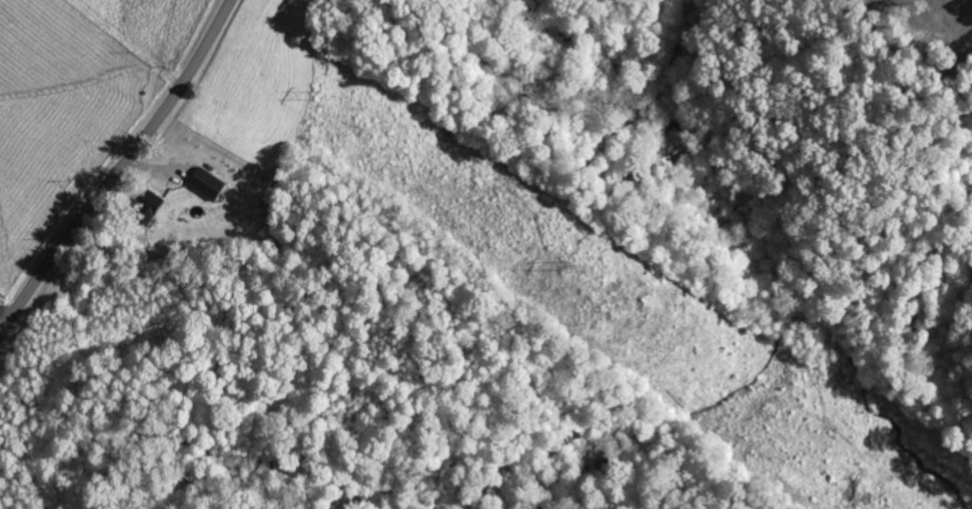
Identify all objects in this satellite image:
power tower: (316, 94)
road: (118, 170)
building: (210, 184)
power tower: (573, 264)

